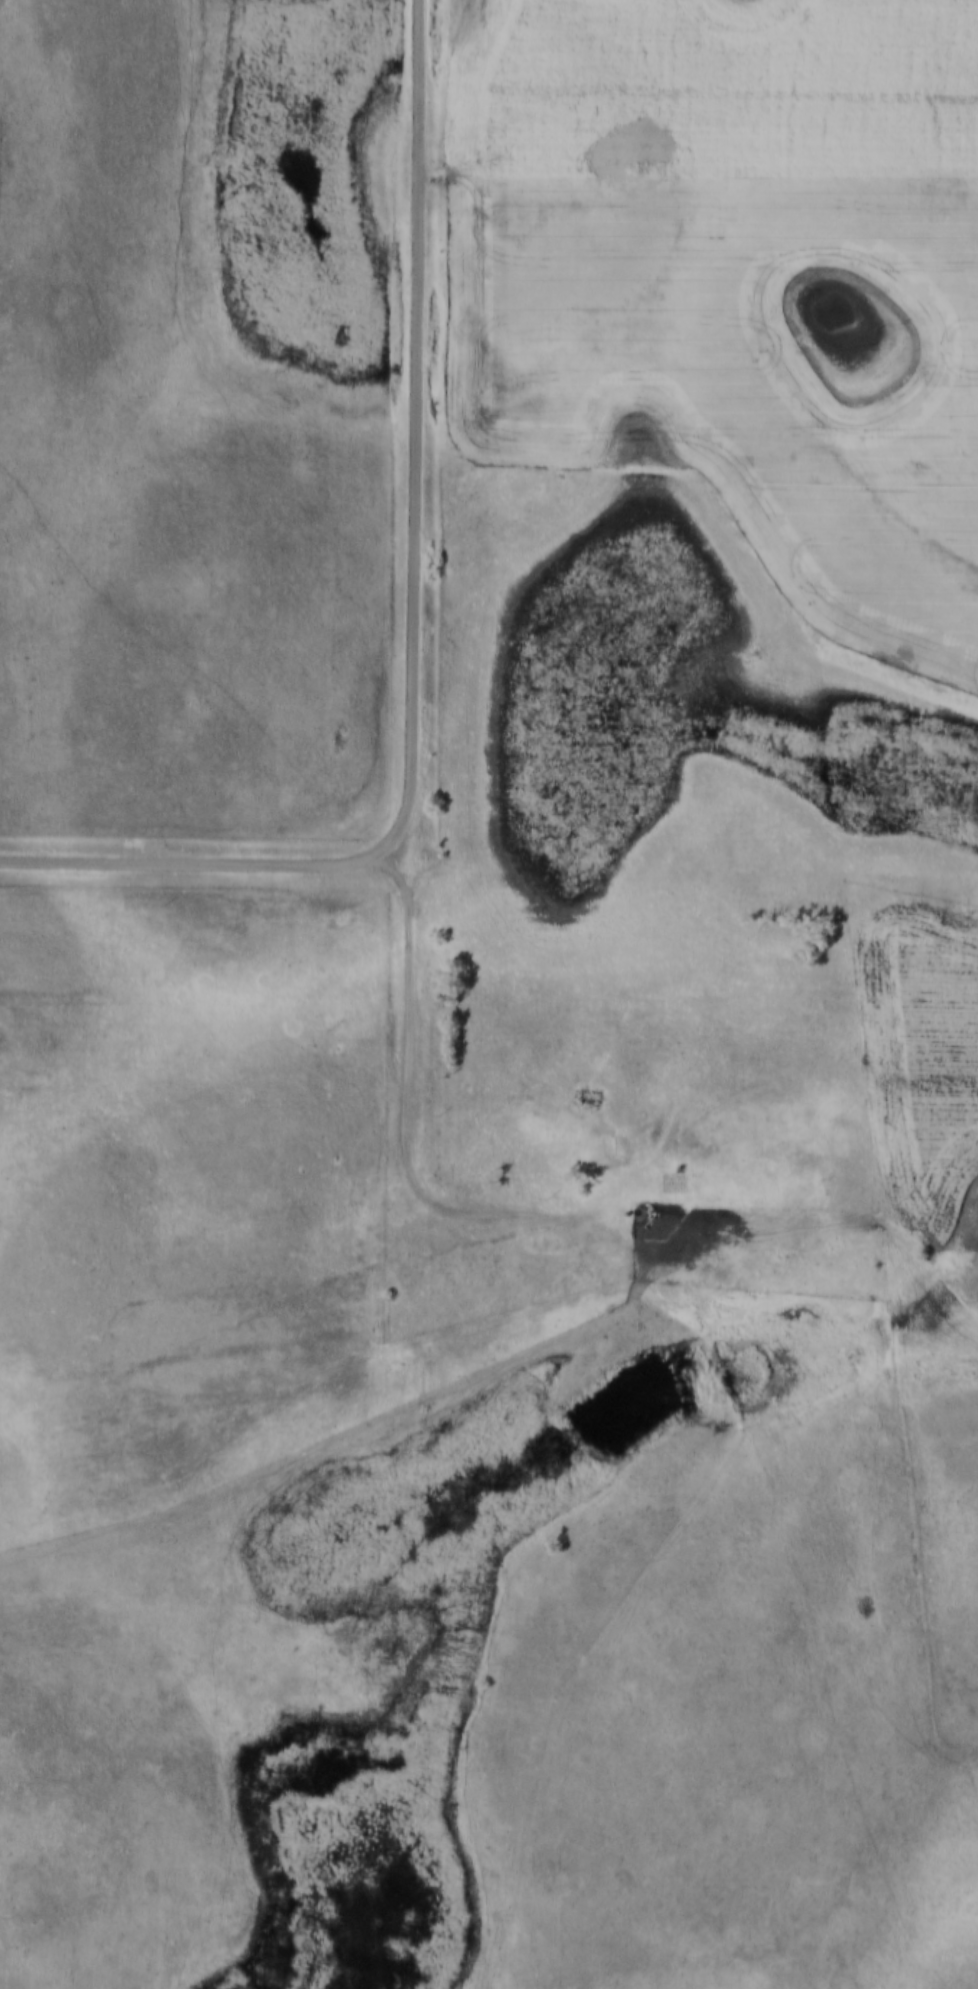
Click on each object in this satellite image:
road: (415, 439)
road: (184, 868)
road: (404, 1131)

